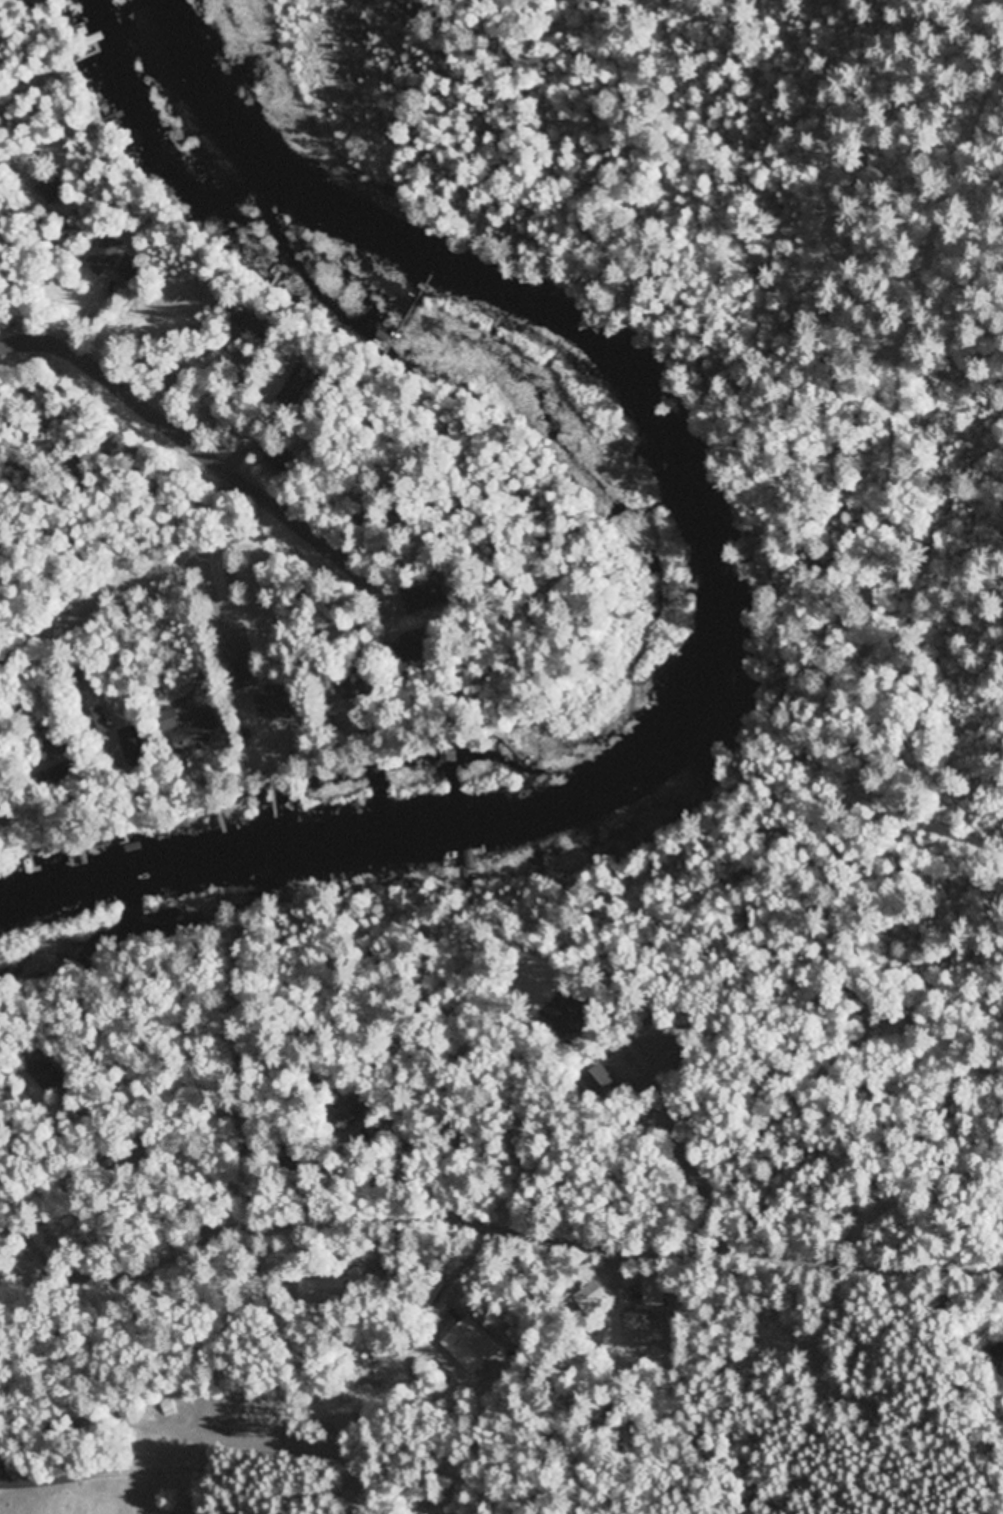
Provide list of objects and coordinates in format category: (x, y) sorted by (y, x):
building: (52, 190)
building: (107, 253)
building: (190, 292)
road: (134, 381)
road: (339, 531)
road: (161, 561)
building: (410, 600)
river: (712, 602)
road: (23, 646)
building: (243, 676)
building: (277, 705)
building: (200, 733)
building: (135, 743)
road: (516, 1223)
building: (627, 1333)
building: (470, 1346)
road: (364, 1492)

